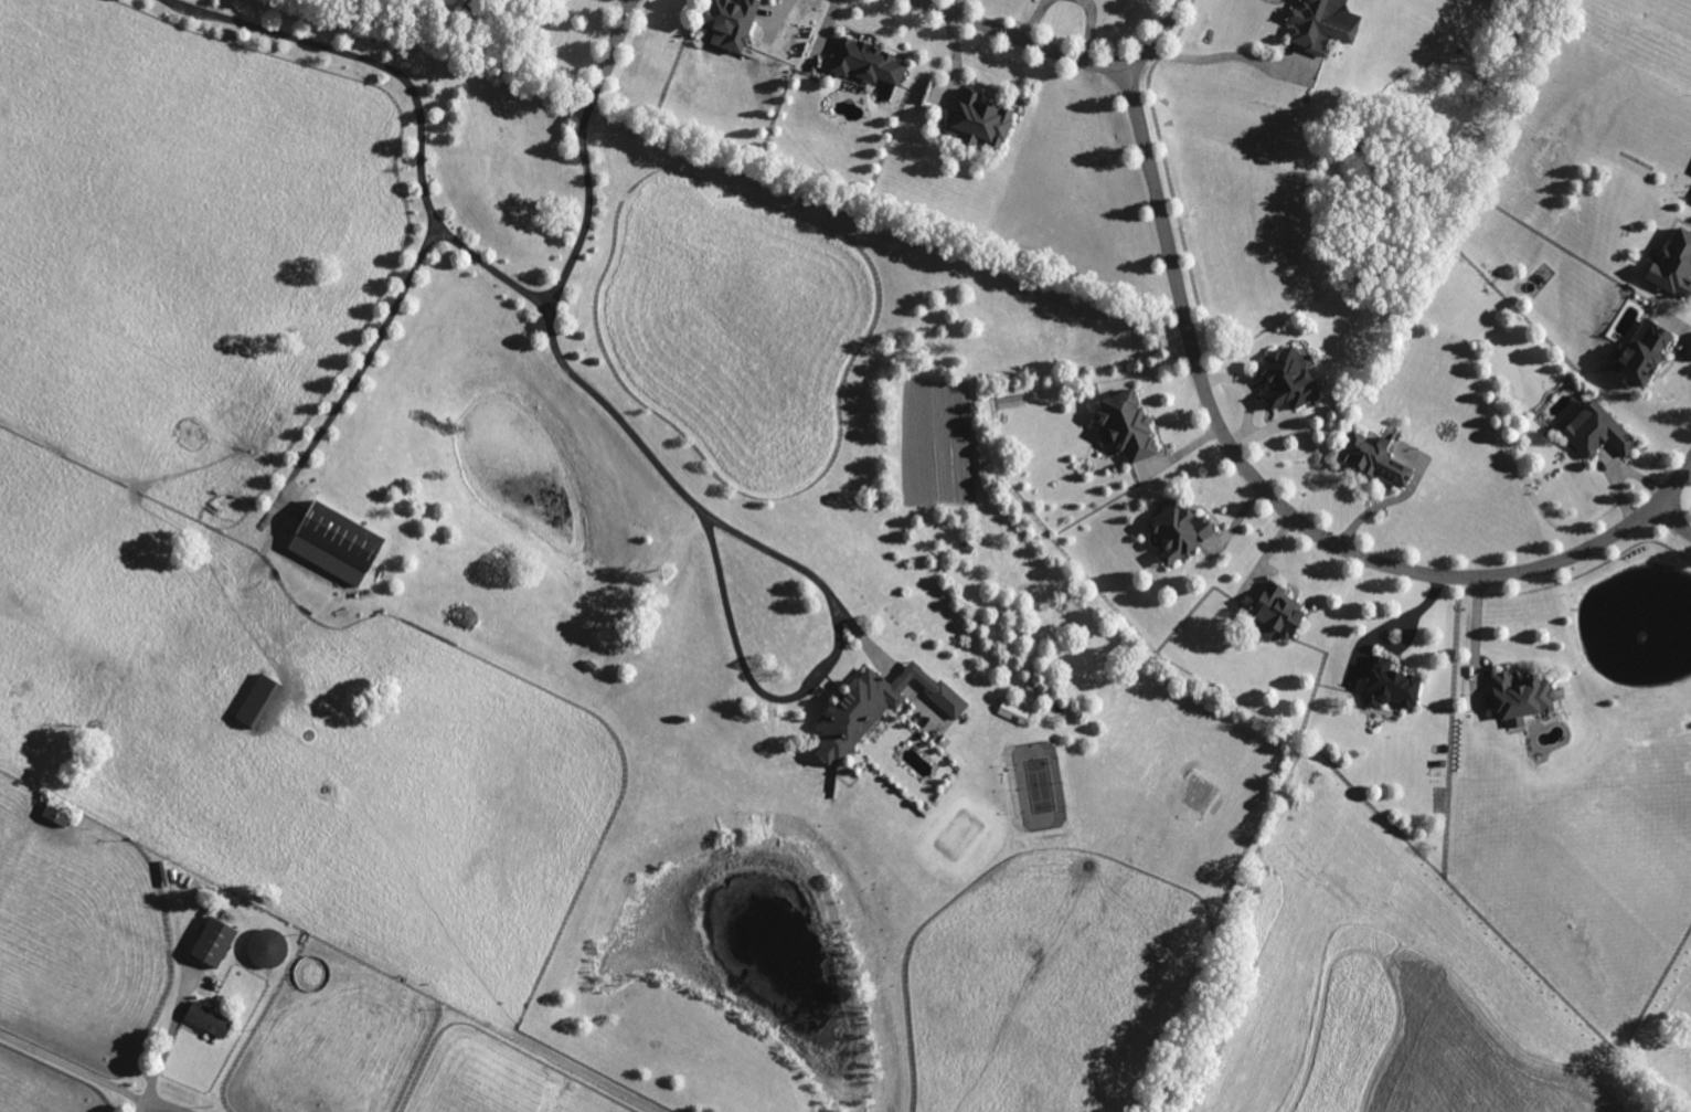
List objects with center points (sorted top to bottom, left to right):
road: (1032, 18)
building: (736, 23)
building: (1328, 24)
road: (1088, 28)
road: (1156, 38)
road: (1024, 39)
road: (611, 54)
road: (1226, 57)
building: (872, 64)
building: (983, 121)
road: (434, 198)
building: (1672, 262)
road: (362, 353)
building: (1648, 354)
building: (1294, 380)
building: (1132, 426)
building: (1602, 433)
building: (1380, 460)
road: (1379, 504)
road: (1280, 506)
road: (1672, 518)
building: (1183, 532)
building: (341, 546)
road: (737, 615)
road: (1476, 636)
building: (1395, 687)
building: (1528, 700)
building: (881, 710)
building: (1015, 713)
building: (932, 714)
building: (61, 815)
building: (217, 943)
building: (272, 949)
building: (212, 1020)
road: (168, 1047)
road: (167, 1103)

